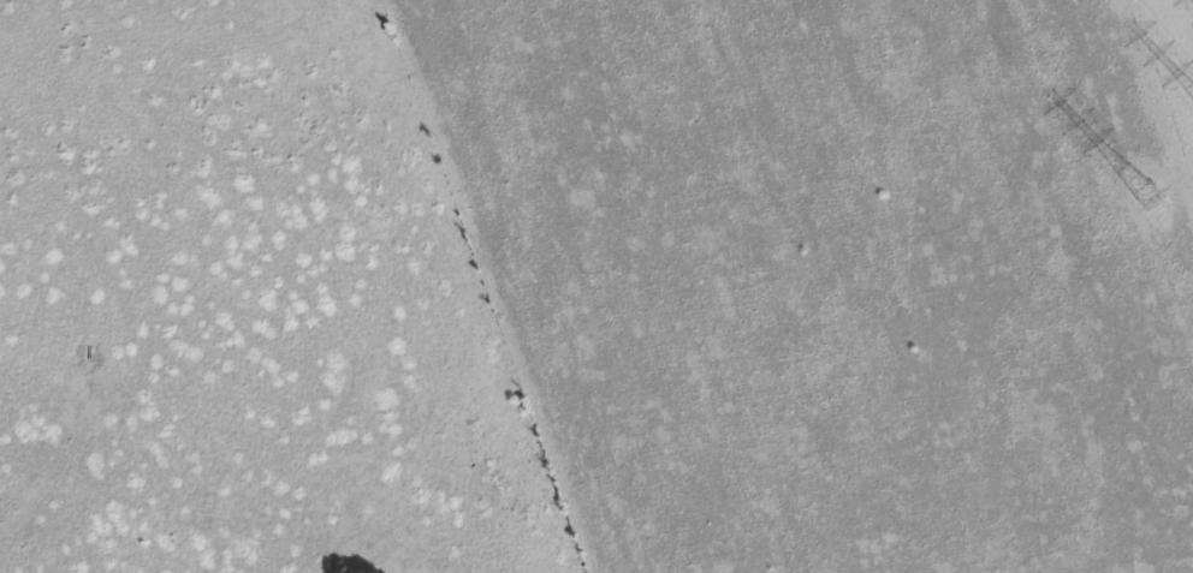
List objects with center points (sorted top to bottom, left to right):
power tower: (1146, 198)

